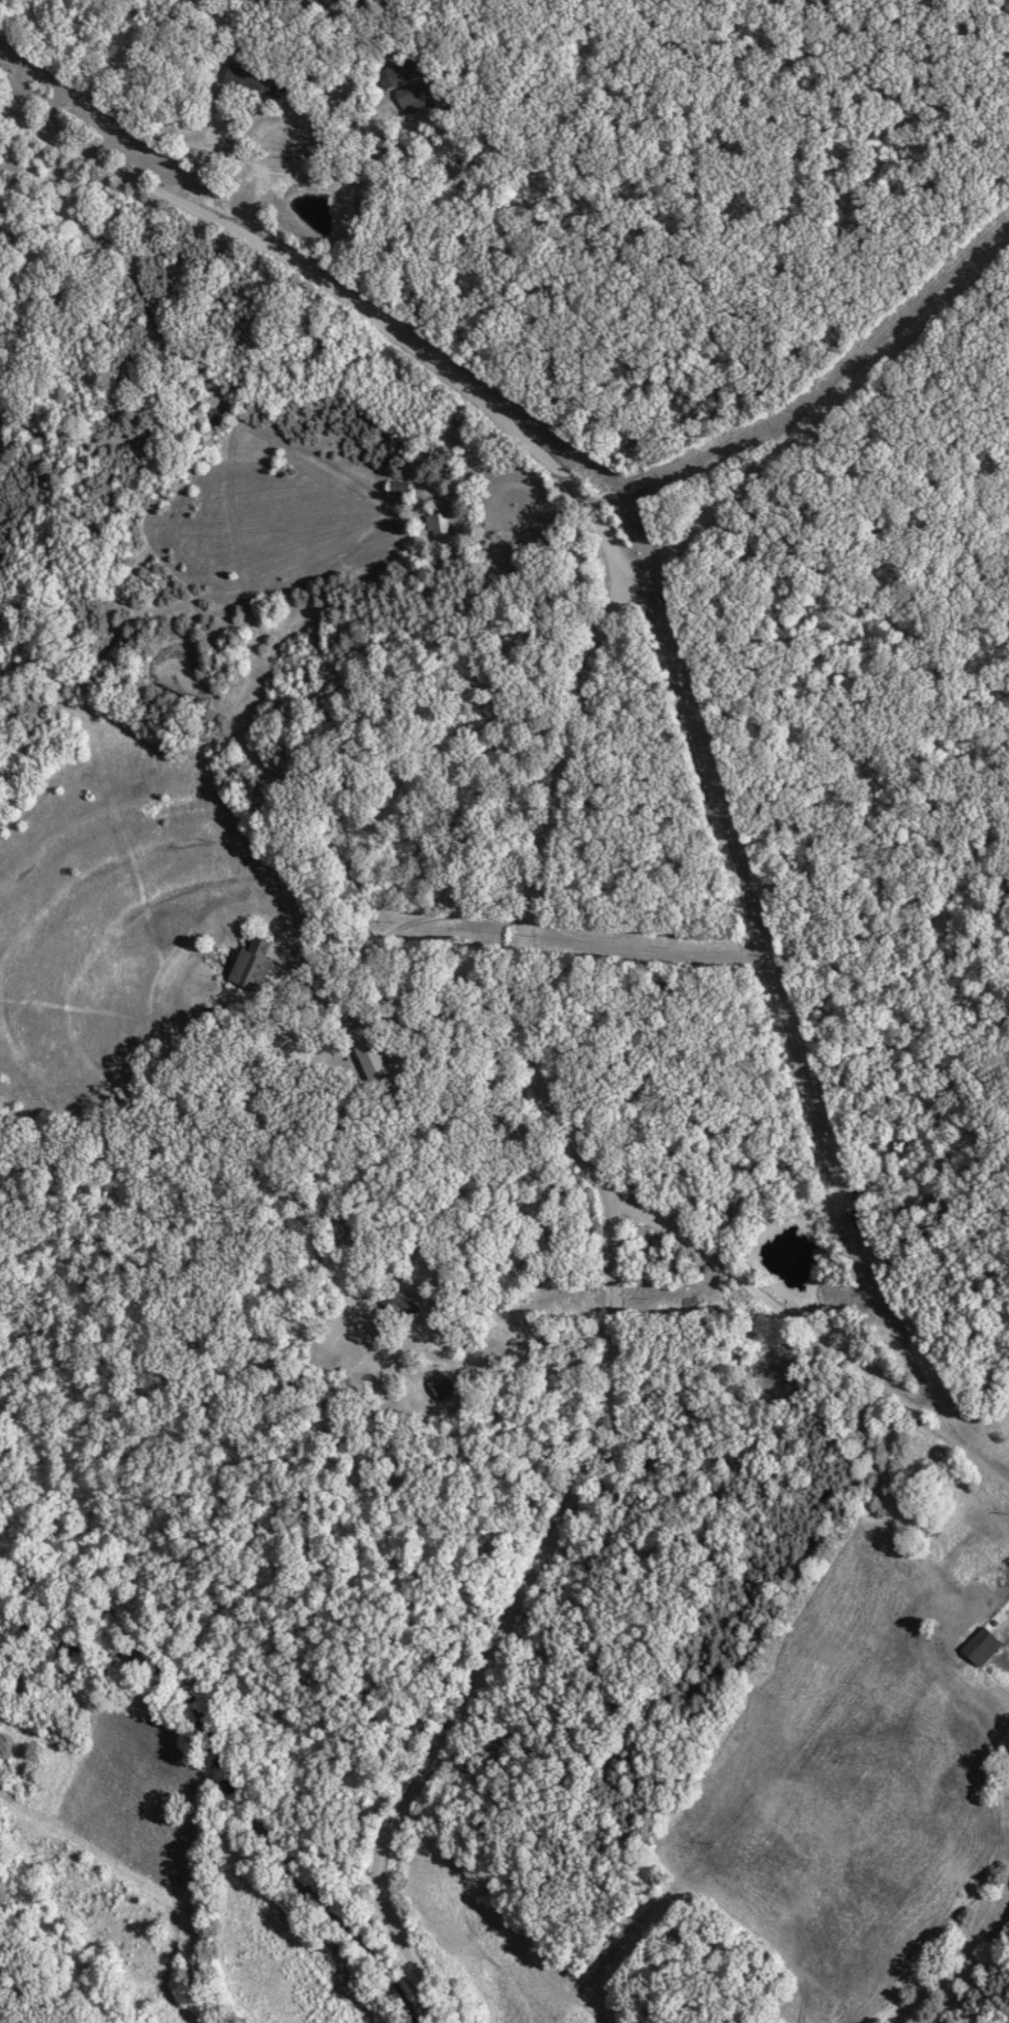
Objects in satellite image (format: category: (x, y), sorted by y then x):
building: (406, 74)
building: (258, 83)
building: (414, 100)
road: (287, 161)
road: (823, 424)
building: (438, 530)
road: (400, 928)
road: (526, 930)
building: (375, 1061)
road: (810, 1334)
building: (444, 1389)
building: (982, 1649)

